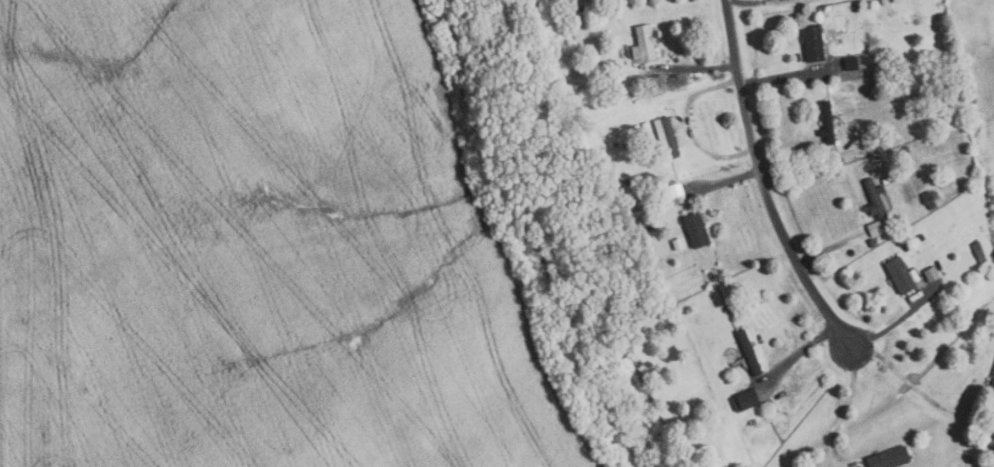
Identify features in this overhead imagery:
building: (585, 0)
road: (759, 3)
building: (856, 7)
building: (539, 14)
building: (865, 25)
building: (814, 43)
building: (645, 44)
building: (850, 63)
building: (969, 68)
road: (695, 69)
building: (616, 73)
road: (791, 77)
building: (970, 77)
road: (708, 89)
building: (972, 89)
building: (636, 93)
building: (973, 100)
building: (828, 123)
building: (689, 125)
building: (672, 135)
building: (906, 151)
building: (832, 156)
road: (788, 173)
road: (723, 180)
building: (626, 181)
road: (762, 182)
building: (671, 192)
building: (876, 198)
building: (930, 199)
building: (875, 229)
building: (697, 231)
building: (921, 237)
building: (872, 243)
building: (907, 247)
road: (831, 248)
building: (979, 251)
building: (901, 275)
road: (900, 320)
building: (750, 352)
road: (798, 355)
road: (902, 376)
building: (992, 387)
building: (745, 400)
road: (843, 409)
building: (992, 444)
building: (890, 458)
building: (970, 459)

